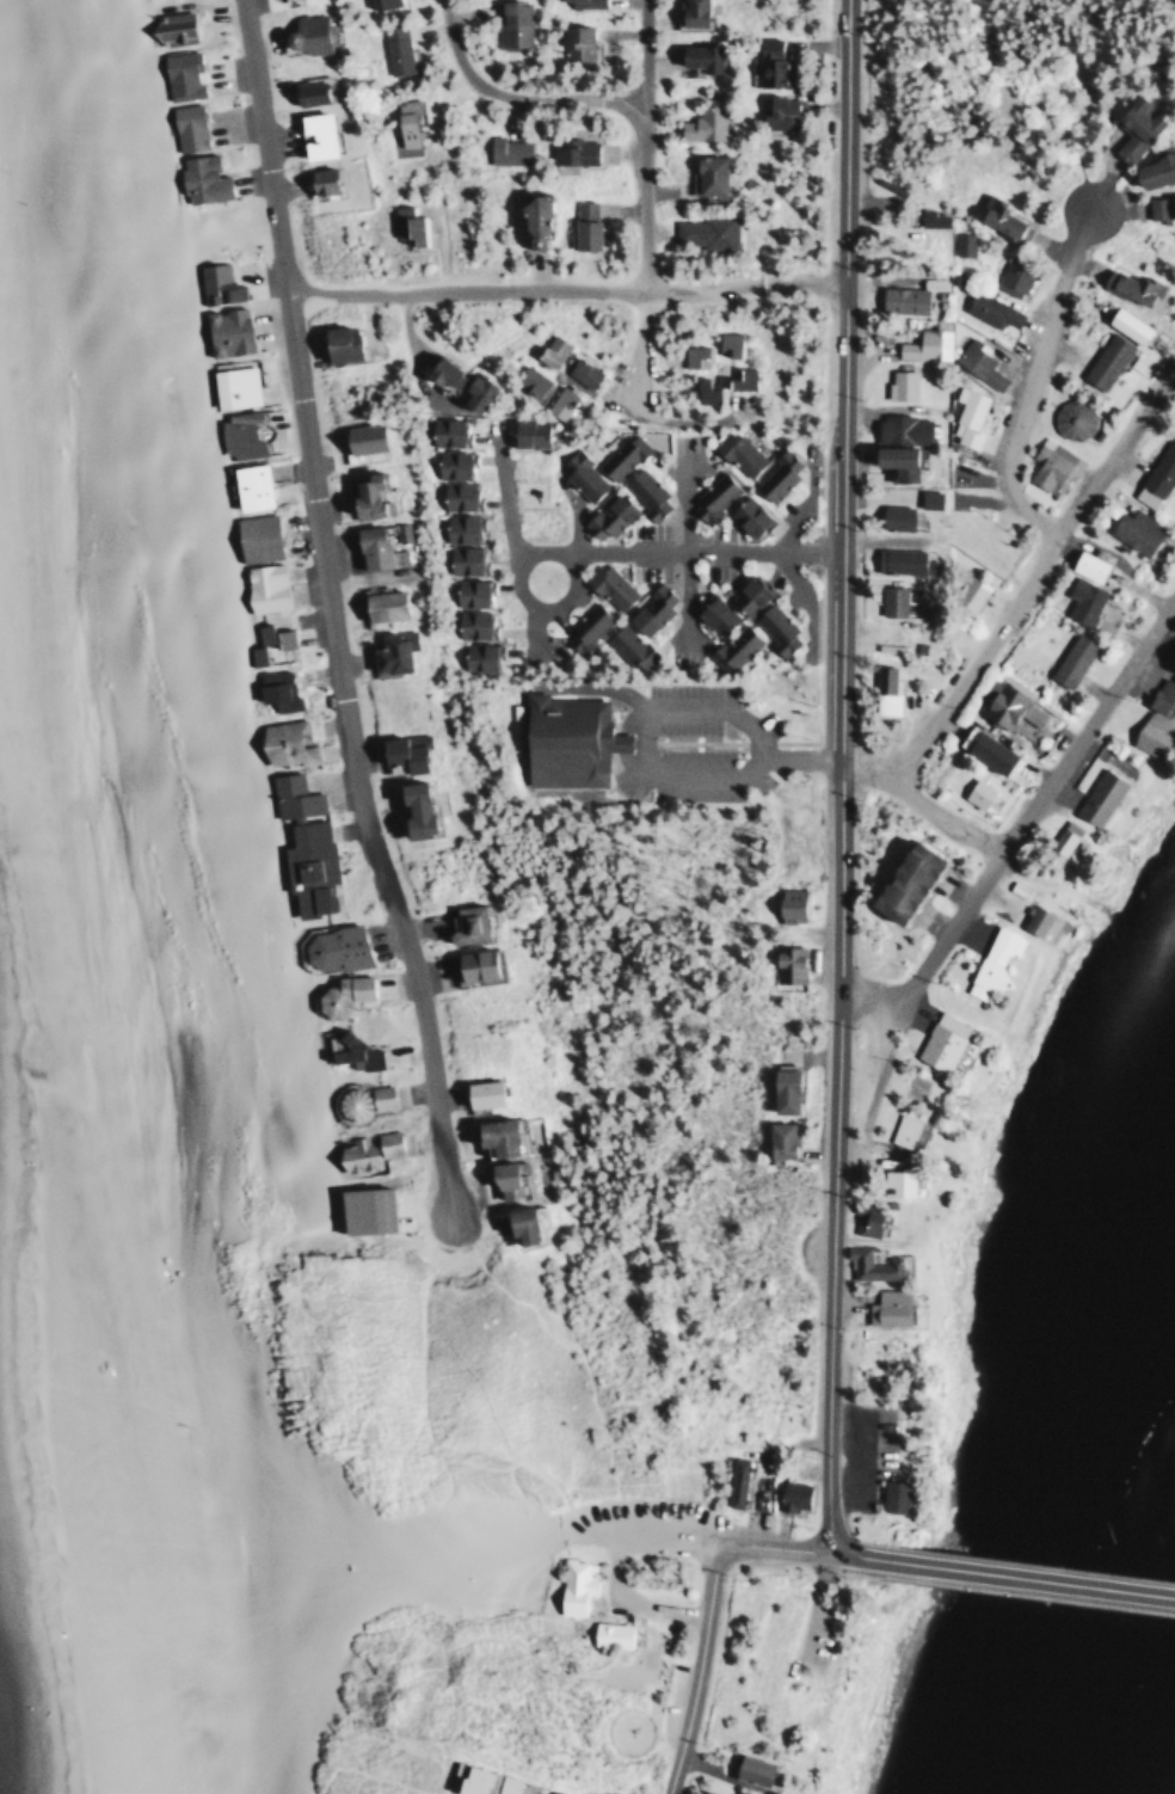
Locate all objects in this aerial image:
building: (380, 2)
building: (584, 2)
building: (688, 12)
building: (511, 21)
building: (171, 27)
building: (303, 33)
building: (576, 39)
building: (395, 49)
building: (696, 56)
building: (769, 62)
building: (179, 74)
building: (304, 92)
road: (516, 92)
building: (776, 112)
building: (701, 122)
building: (185, 125)
building: (1133, 125)
building: (312, 134)
building: (505, 150)
building: (572, 150)
building: (1152, 168)
building: (705, 173)
building: (198, 178)
building: (321, 179)
road: (644, 199)
building: (404, 208)
building: (929, 217)
building: (998, 217)
building: (530, 220)
building: (582, 223)
building: (412, 228)
building: (703, 231)
building: (960, 244)
building: (1009, 279)
building: (933, 281)
building: (216, 283)
building: (1127, 284)
road: (567, 289)
road: (1056, 291)
building: (900, 299)
building: (988, 309)
building: (1125, 324)
building: (223, 331)
building: (336, 343)
building: (725, 343)
building: (923, 344)
building: (549, 350)
building: (694, 356)
building: (1103, 361)
building: (976, 362)
building: (438, 371)
building: (580, 371)
building: (528, 379)
building: (738, 379)
building: (899, 383)
building: (232, 386)
building: (702, 389)
building: (470, 392)
building: (559, 401)
building: (966, 416)
road: (687, 418)
building: (1070, 418)
building: (900, 429)
building: (449, 430)
building: (525, 431)
building: (236, 434)
building: (357, 440)
building: (736, 451)
building: (892, 461)
building: (454, 463)
building: (1047, 463)
road: (1014, 466)
building: (580, 475)
building: (775, 475)
building: (1156, 475)
building: (247, 486)
building: (645, 493)
building: (365, 496)
building: (710, 496)
building: (928, 498)
building: (744, 515)
building: (893, 516)
building: (605, 517)
building: (462, 527)
building: (1133, 530)
building: (253, 536)
building: (371, 548)
road: (683, 549)
road: (677, 554)
building: (463, 559)
building: (896, 559)
road: (512, 564)
building: (1085, 565)
building: (607, 585)
building: (263, 586)
building: (968, 591)
building: (469, 592)
building: (748, 595)
building: (890, 600)
building: (1081, 600)
building: (379, 604)
road: (338, 609)
building: (648, 610)
road: (1007, 612)
building: (710, 613)
building: (470, 622)
building: (584, 628)
building: (774, 628)
building: (272, 635)
building: (628, 647)
building: (732, 647)
building: (388, 651)
building: (253, 655)
building: (480, 656)
building: (1069, 659)
building: (882, 690)
building: (1163, 692)
building: (276, 694)
building: (999, 702)
building: (1029, 713)
building: (1149, 732)
building: (565, 739)
building: (284, 742)
building: (401, 751)
building: (984, 751)
road: (800, 754)
road: (842, 770)
road: (699, 773)
building: (976, 792)
road: (1040, 792)
building: (290, 795)
building: (1097, 797)
building: (408, 809)
building: (429, 818)
road: (953, 829)
building: (1062, 836)
building: (307, 866)
building: (899, 883)
building: (1017, 889)
building: (788, 904)
building: (1032, 920)
building: (463, 924)
building: (332, 947)
building: (991, 961)
building: (787, 964)
building: (470, 965)
building: (338, 995)
road: (880, 997)
building: (939, 1042)
building: (349, 1051)
building: (780, 1088)
building: (478, 1093)
building: (377, 1096)
building: (349, 1104)
building: (902, 1130)
building: (492, 1136)
building: (775, 1139)
building: (365, 1150)
building: (498, 1180)
building: (893, 1184)
building: (361, 1210)
building: (863, 1217)
building: (513, 1227)
building: (868, 1264)
building: (886, 1308)
river: (1097, 1458)
building: (732, 1480)
building: (789, 1494)
building: (892, 1494)
parking lot: (636, 1517)
road: (609, 1531)
road: (779, 1538)
road: (247, 1542)
road: (865, 1554)
road: (1035, 1577)
building: (572, 1585)
building: (609, 1633)
road: (453, 1642)
road: (696, 1671)
road: (370, 1734)
building: (749, 1768)
road: (369, 1774)
building: (461, 1777)
building: (502, 1783)
building: (549, 1792)
building: (702, 1792)

